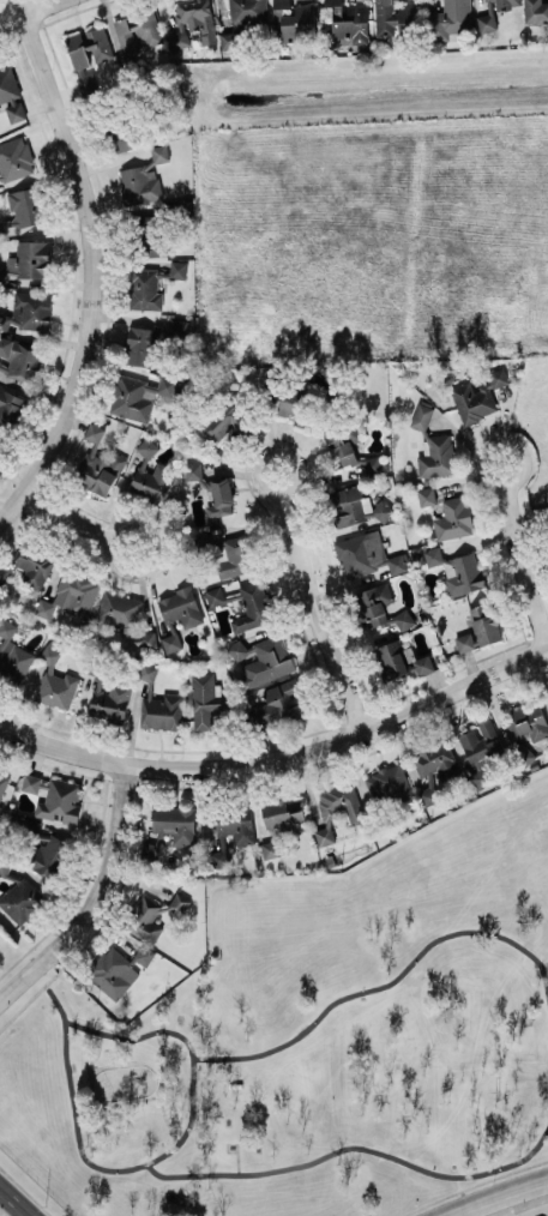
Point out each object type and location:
building: (502, 4)
road: (25, 8)
building: (536, 11)
building: (242, 19)
building: (393, 19)
building: (459, 20)
building: (294, 22)
building: (193, 23)
building: (348, 23)
building: (137, 32)
building: (97, 43)
building: (77, 50)
building: (88, 84)
building: (11, 94)
building: (124, 134)
building: (159, 152)
building: (14, 158)
building: (139, 183)
building: (25, 206)
building: (1, 229)
building: (30, 259)
road: (96, 269)
building: (177, 269)
building: (145, 289)
building: (32, 309)
building: (4, 321)
building: (139, 345)
building: (20, 360)
building: (477, 396)
building: (295, 405)
building: (10, 409)
building: (421, 416)
building: (225, 420)
building: (146, 447)
building: (339, 449)
building: (1, 450)
building: (436, 457)
building: (98, 464)
building: (372, 464)
road: (492, 480)
building: (152, 482)
road: (267, 490)
building: (426, 495)
building: (219, 498)
building: (351, 505)
building: (383, 510)
building: (453, 518)
road: (71, 519)
road: (115, 555)
building: (355, 555)
building: (433, 555)
building: (236, 556)
building: (396, 562)
building: (29, 565)
road: (522, 565)
building: (463, 573)
building: (231, 591)
building: (71, 595)
building: (213, 596)
building: (375, 603)
building: (253, 606)
building: (118, 610)
building: (177, 614)
road: (317, 616)
building: (403, 619)
building: (480, 627)
building: (149, 639)
building: (12, 655)
building: (260, 660)
building: (392, 660)
building: (422, 664)
building: (55, 682)
building: (547, 692)
building: (206, 700)
building: (282, 700)
building: (110, 703)
building: (161, 711)
building: (526, 726)
road: (282, 759)
building: (436, 760)
building: (387, 783)
building: (2, 785)
building: (429, 790)
building: (54, 796)
building: (0, 807)
building: (337, 808)
building: (283, 812)
building: (175, 823)
building: (231, 825)
building: (269, 849)
building: (49, 855)
building: (219, 857)
building: (22, 901)
road: (96, 901)
building: (179, 902)
building: (145, 920)
building: (118, 969)
road: (387, 983)
road: (156, 1072)
road: (94, 1095)
road: (354, 1146)
road: (235, 1160)
road: (150, 1162)
road: (496, 1196)
road: (18, 1199)
road: (543, 1214)

